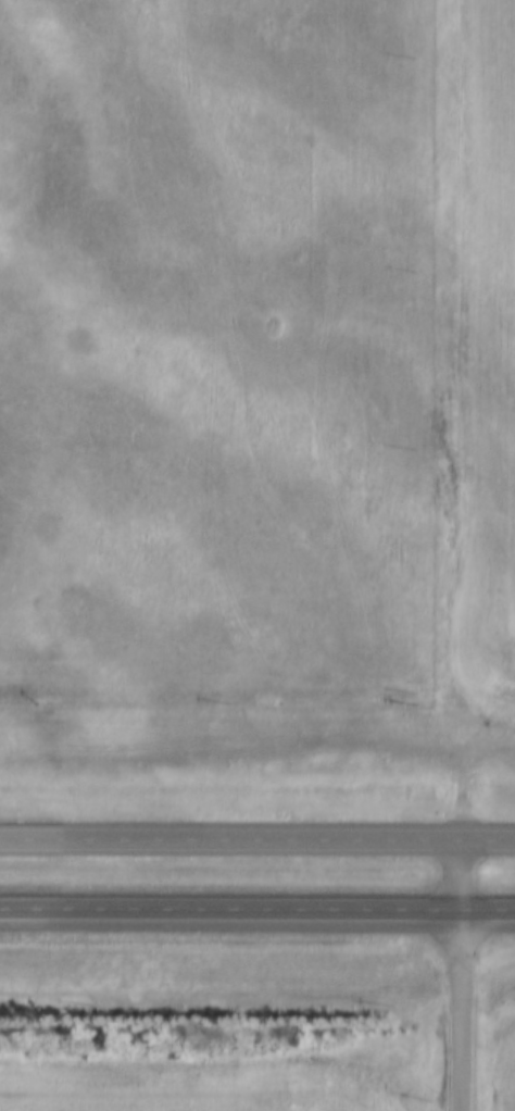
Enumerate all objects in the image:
road: (257, 840)
road: (459, 874)
road: (257, 908)
road: (462, 1010)

